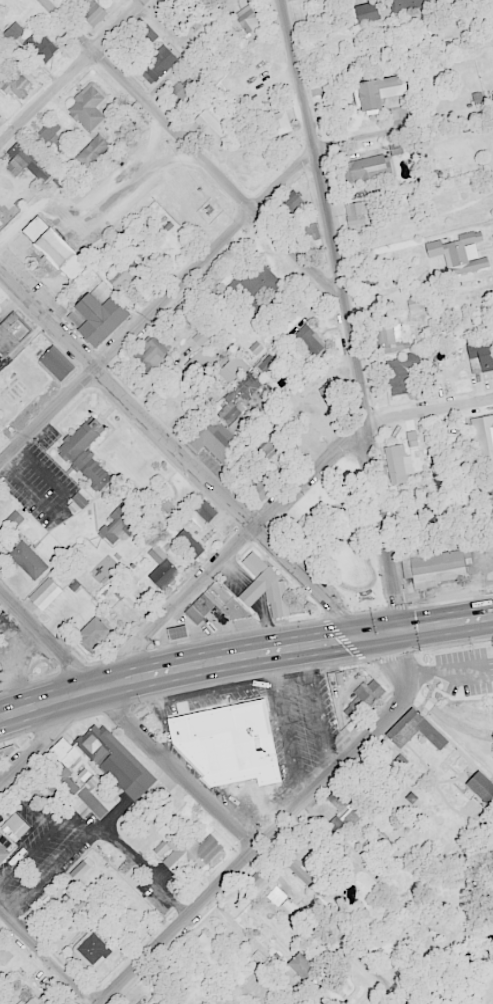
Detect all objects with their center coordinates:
building: (407, 4)
building: (90, 11)
building: (365, 12)
building: (247, 19)
building: (42, 50)
building: (157, 64)
road: (71, 71)
building: (14, 83)
building: (180, 90)
building: (378, 90)
building: (88, 106)
building: (0, 118)
building: (278, 123)
building: (210, 125)
road: (386, 129)
building: (47, 131)
road: (154, 145)
building: (91, 150)
building: (27, 152)
road: (188, 155)
road: (168, 160)
building: (18, 164)
building: (369, 167)
building: (287, 205)
road: (85, 212)
building: (360, 215)
building: (1, 217)
road: (5, 235)
building: (53, 248)
building: (475, 256)
building: (123, 273)
building: (253, 289)
road: (395, 297)
road: (154, 306)
road: (347, 313)
building: (95, 317)
building: (10, 332)
building: (201, 336)
building: (385, 338)
building: (308, 340)
building: (150, 351)
building: (481, 354)
building: (55, 363)
building: (199, 364)
building: (267, 365)
building: (232, 368)
building: (400, 372)
building: (247, 383)
building: (331, 395)
road: (429, 411)
building: (212, 438)
building: (483, 438)
building: (84, 453)
building: (396, 464)
road: (201, 482)
building: (255, 495)
building: (203, 512)
building: (118, 523)
building: (188, 543)
building: (27, 560)
building: (433, 567)
building: (161, 570)
building: (273, 589)
building: (44, 594)
road: (180, 601)
building: (214, 605)
building: (210, 613)
building: (244, 614)
road: (486, 618)
traffic signals: (403, 630)
building: (176, 632)
building: (92, 635)
traffic signals: (360, 636)
building: (188, 637)
gas station: (188, 637)
road: (237, 656)
road: (446, 672)
building: (363, 697)
road: (125, 721)
road: (287, 724)
building: (413, 729)
building: (228, 745)
building: (115, 761)
building: (480, 787)
building: (82, 794)
road: (32, 806)
building: (344, 808)
road: (77, 824)
building: (15, 826)
road: (275, 826)
road: (94, 831)
building: (3, 852)
building: (188, 852)
building: (491, 853)
road: (31, 854)
building: (298, 860)
building: (78, 871)
building: (266, 889)
building: (90, 950)
building: (205, 950)
road: (44, 959)
building: (39, 998)

